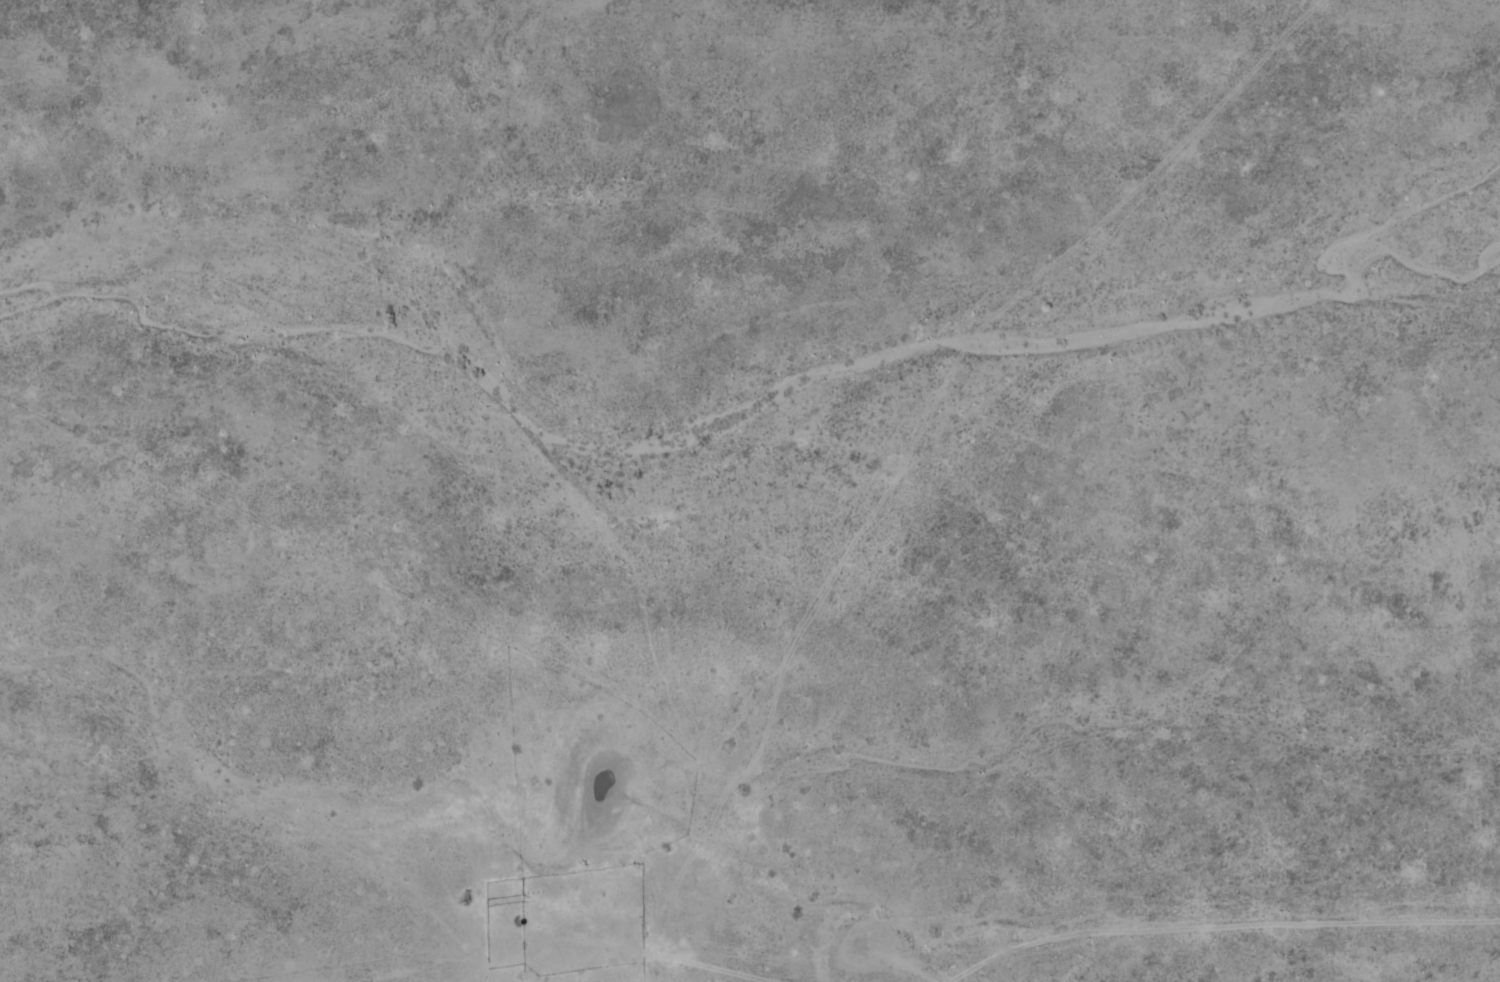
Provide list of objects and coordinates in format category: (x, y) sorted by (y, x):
road: (748, 934)

